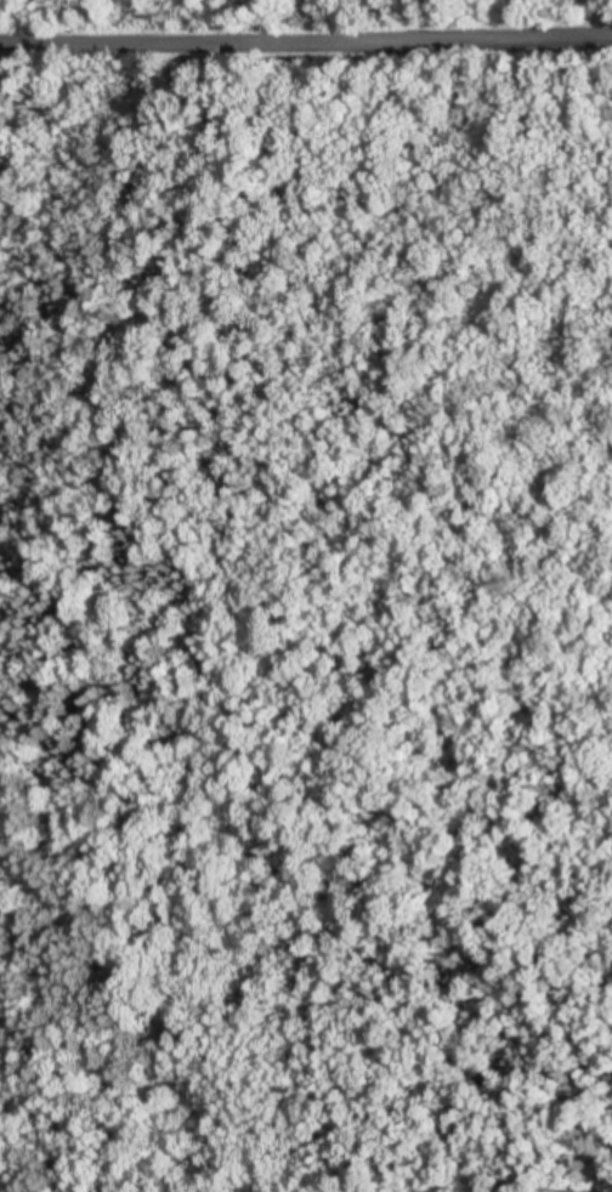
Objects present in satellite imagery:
road: (306, 42)

